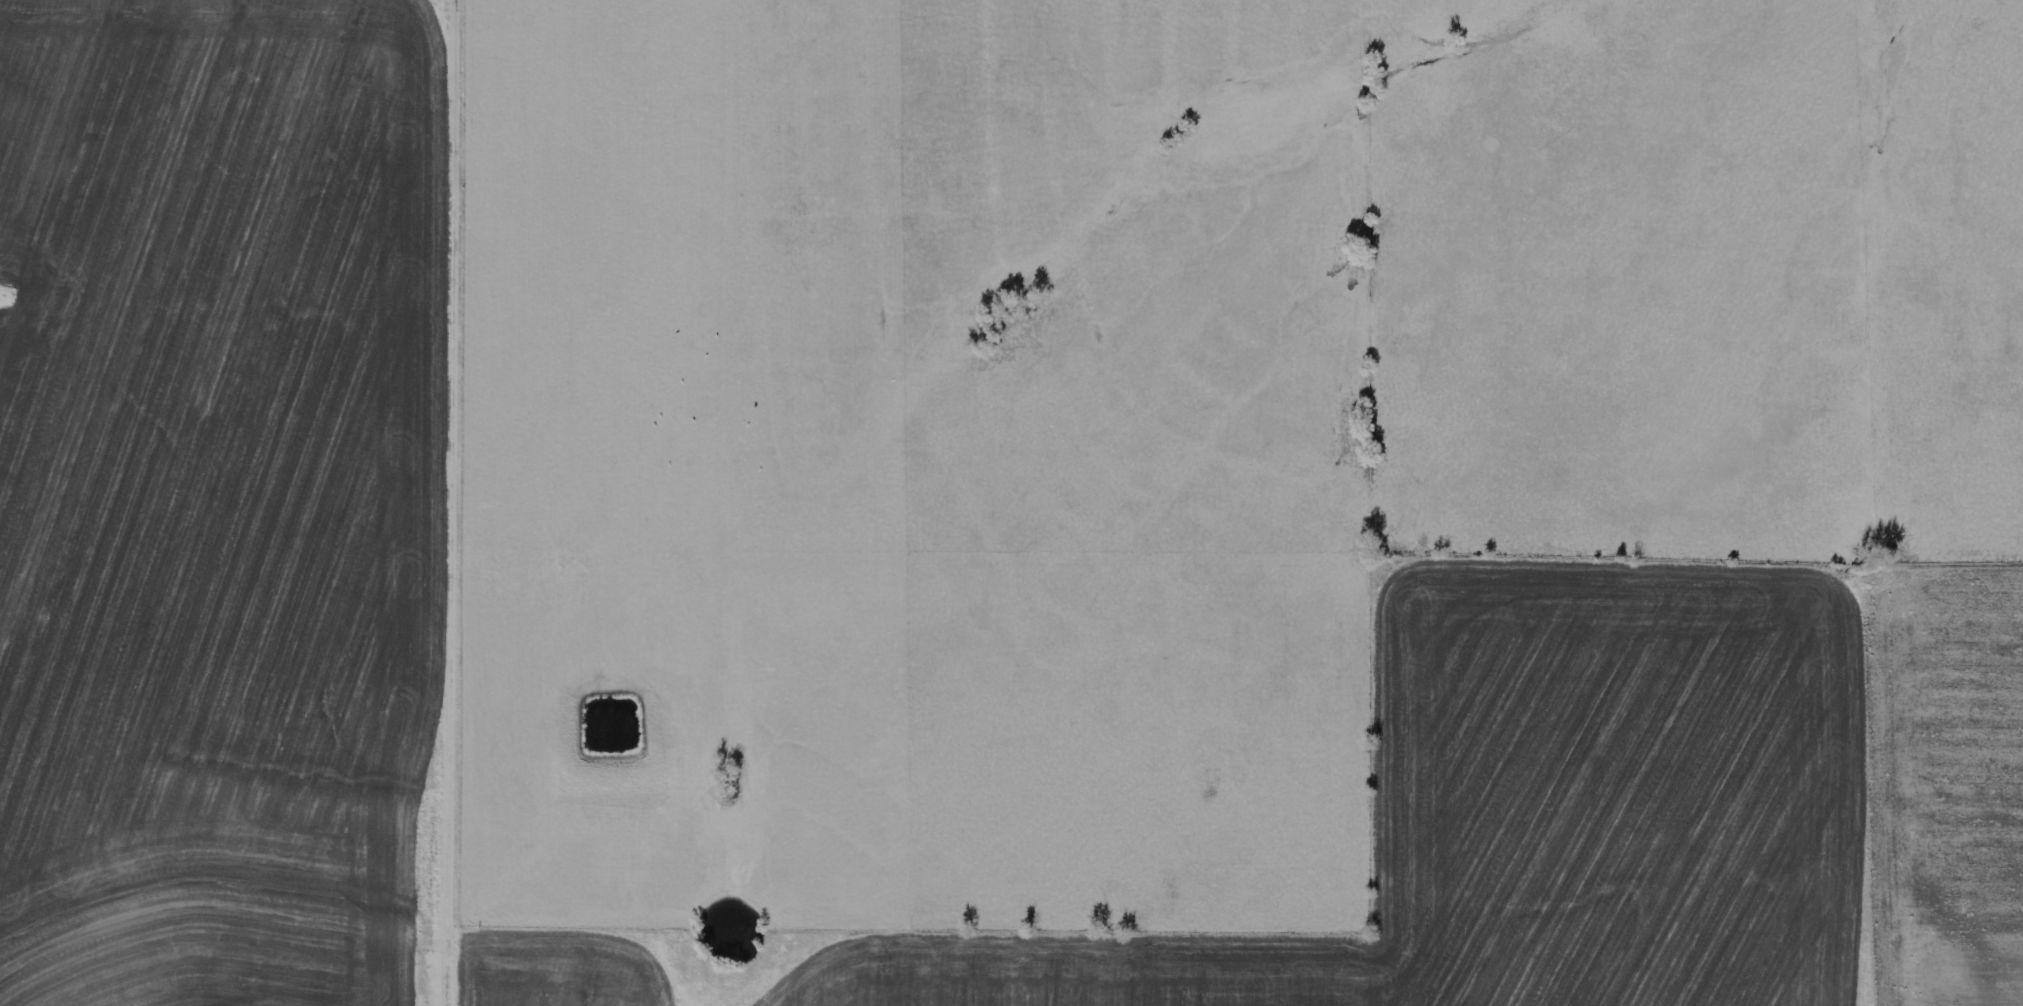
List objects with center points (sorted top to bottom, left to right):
road: (460, 502)

